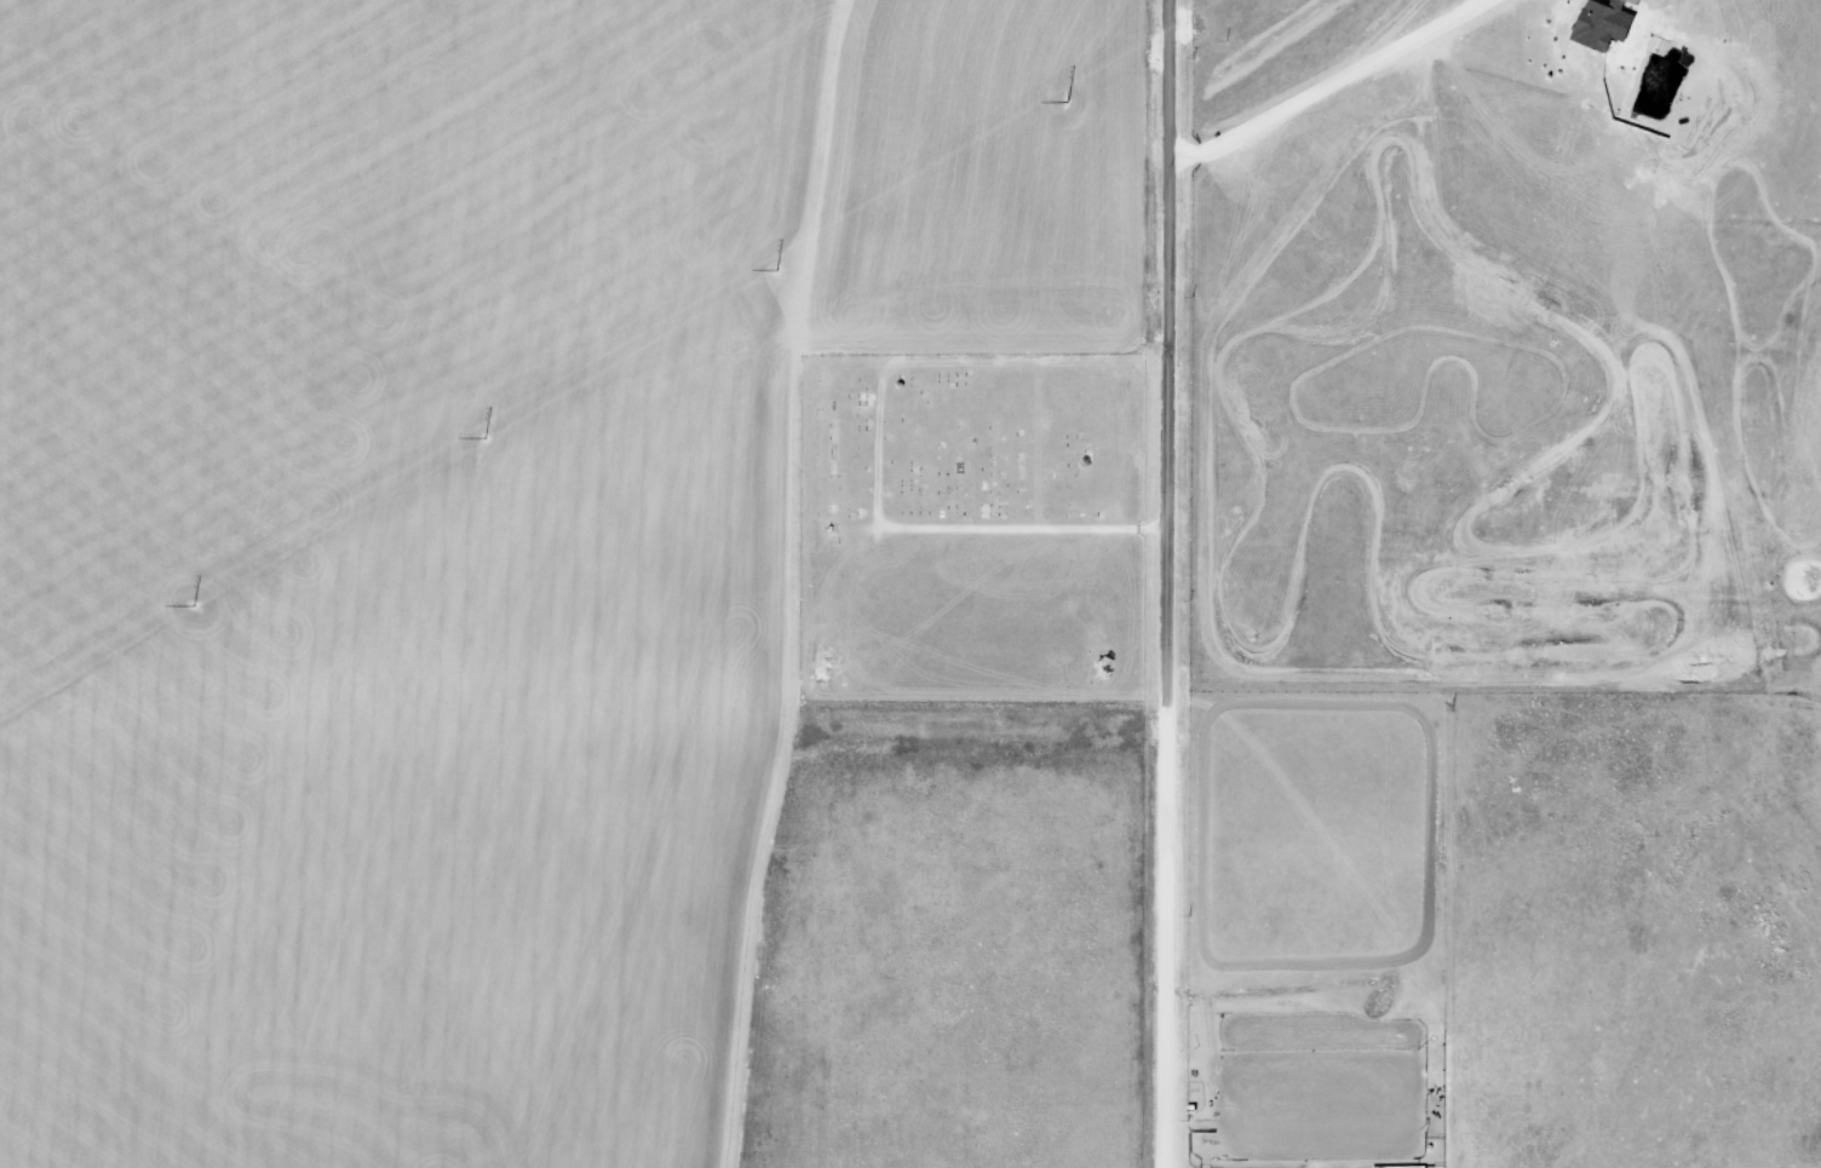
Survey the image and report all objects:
building: (1644, 1)
power tower: (1206, 25)
power tower: (889, 202)
power tower: (578, 380)
park: (970, 529)
power tower: (275, 562)
road: (1170, 583)

